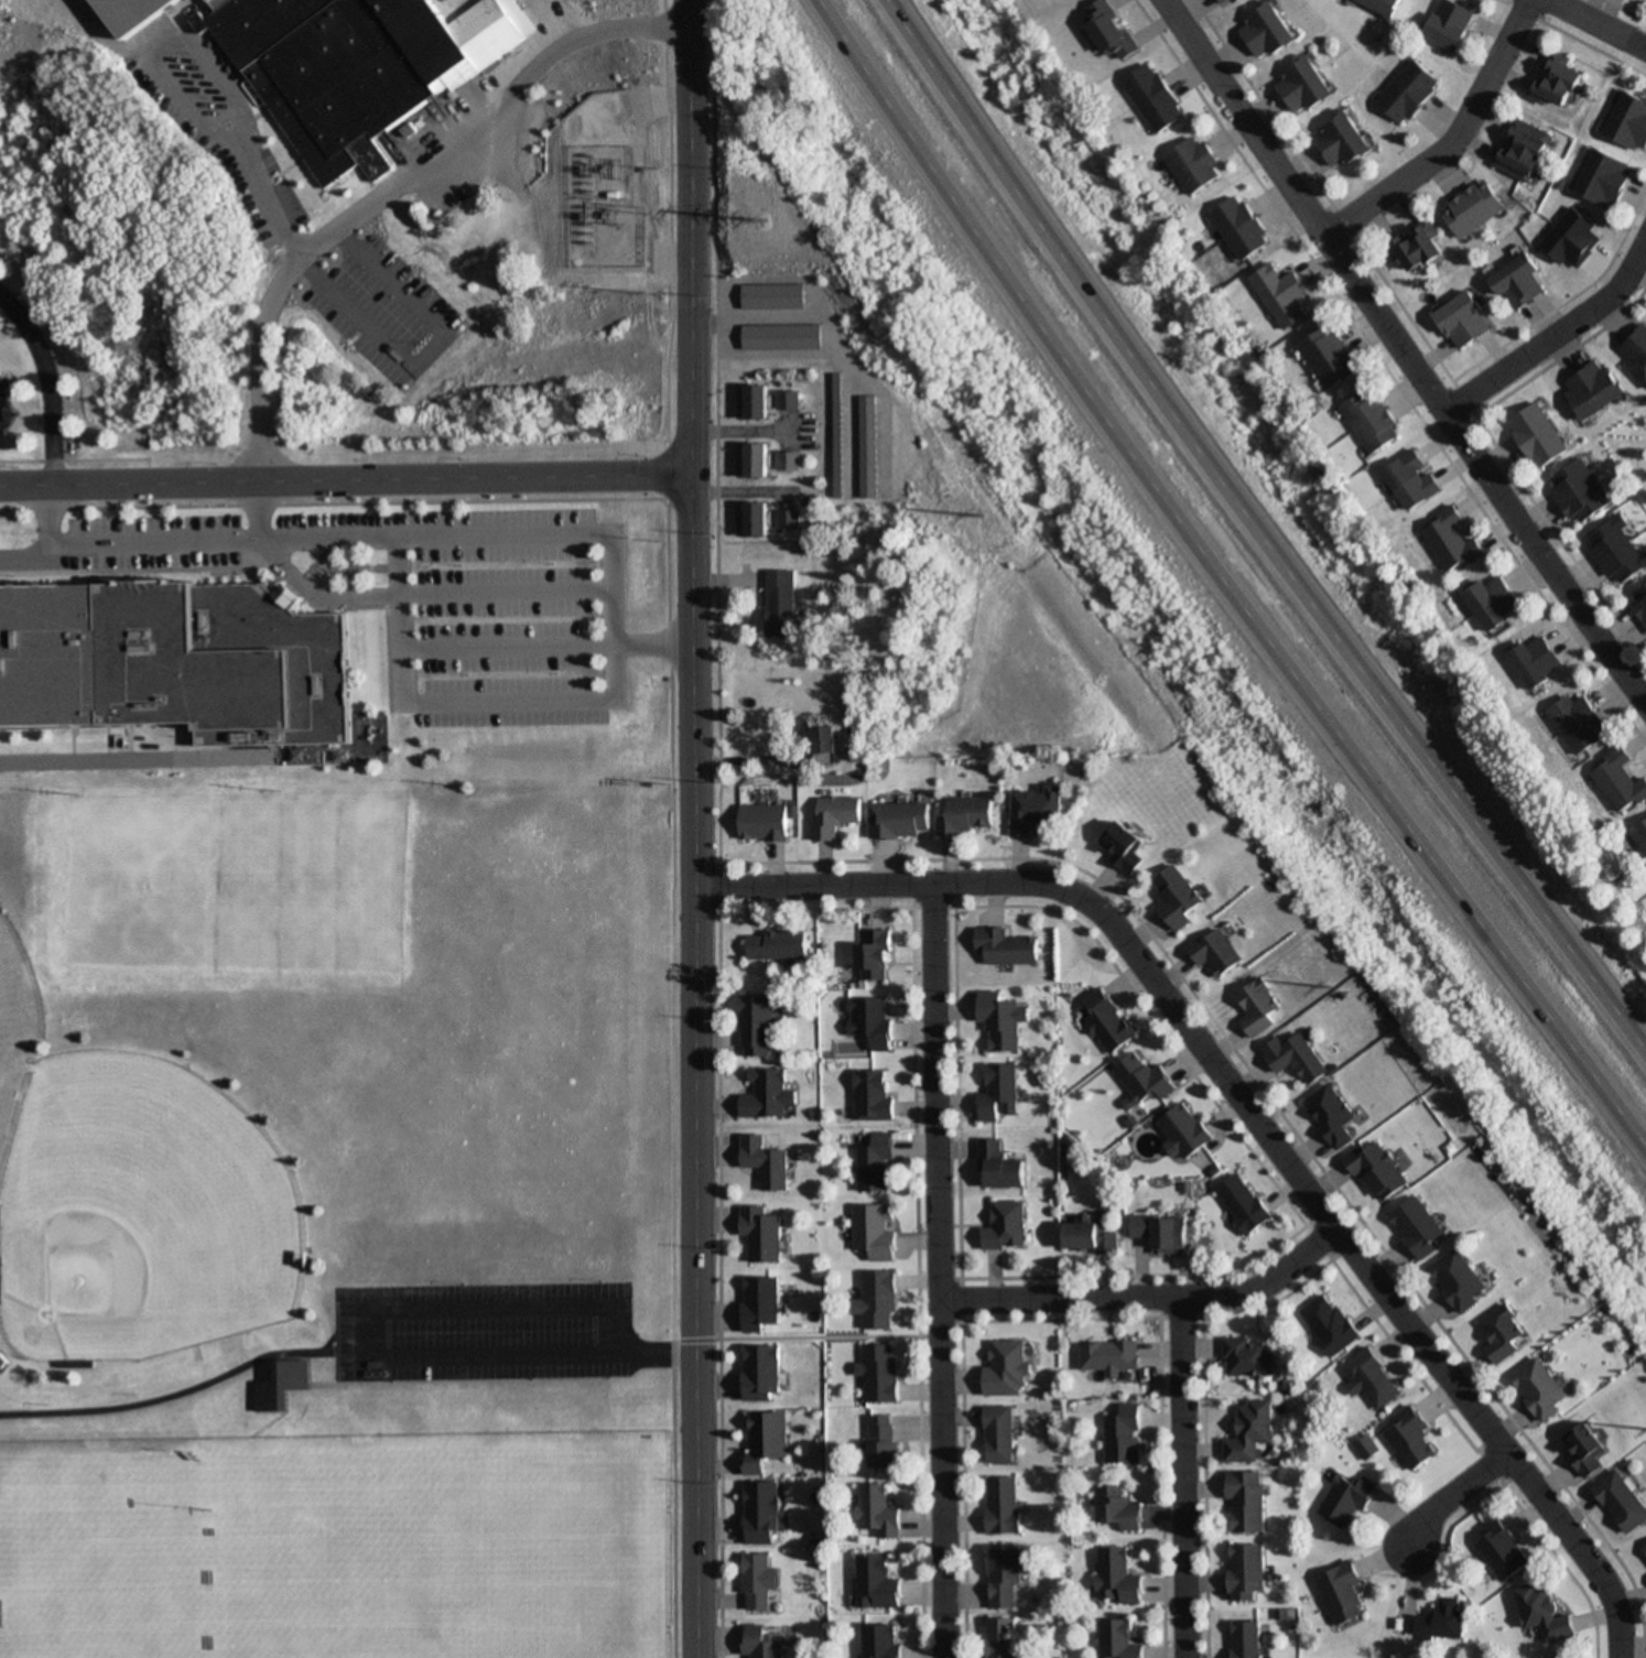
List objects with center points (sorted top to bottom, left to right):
building: (1223, 3)
building: (1380, 6)
power tower: (1022, 18)
road: (96, 24)
building: (1449, 24)
road: (1594, 26)
road: (145, 29)
building: (1107, 30)
building: (1264, 31)
road: (208, 61)
building: (350, 62)
building: (1556, 80)
road: (171, 86)
building: (1301, 87)
building: (1408, 93)
building: (1151, 98)
building: (1628, 122)
building: (1340, 141)
road: (1452, 145)
building: (1522, 151)
building: (1191, 164)
power tower: (658, 167)
building: (1604, 178)
road: (259, 186)
road: (393, 186)
power substation: (600, 207)
building: (1472, 208)
power tower: (752, 217)
power tower: (650, 218)
building: (1238, 227)
building: (1419, 247)
building: (1518, 282)
road: (408, 290)
power tower: (657, 294)
building: (1279, 295)
building: (768, 296)
road: (351, 307)
building: (1463, 319)
road: (1551, 332)
building: (777, 337)
building: (1636, 354)
road: (1399, 355)
building: (1326, 356)
road: (44, 383)
building: (1592, 388)
building: (783, 400)
building: (748, 403)
building: (1369, 419)
building: (1538, 435)
building: (835, 449)
building: (867, 453)
road: (69, 457)
building: (749, 460)
building: (783, 462)
road: (343, 476)
building: (1410, 479)
building: (1580, 492)
road: (331, 500)
power tower: (976, 517)
building: (749, 520)
road: (192, 532)
road: (1256, 534)
building: (1451, 540)
road: (28, 548)
building: (1617, 551)
road: (499, 578)
road: (1219, 584)
parking lot: (413, 585)
building: (1493, 602)
building: (1639, 602)
building: (778, 603)
road: (500, 639)
road: (648, 639)
building: (46, 653)
building: (218, 657)
building: (1535, 661)
road: (607, 693)
building: (1575, 723)
building: (822, 744)
road: (89, 750)
building: (1617, 780)
building: (1036, 809)
building: (967, 814)
building: (833, 815)
building: (899, 819)
building: (761, 821)
road: (691, 828)
building: (1639, 835)
building: (1124, 845)
road: (632, 858)
building: (1177, 897)
building: (776, 944)
building: (1006, 947)
building: (1215, 952)
building: (874, 954)
power tower: (1323, 986)
park: (14, 996)
building: (1259, 1007)
building: (870, 1020)
building: (1001, 1020)
building: (1107, 1021)
building: (756, 1025)
road: (307, 1032)
building: (1298, 1056)
building: (1145, 1079)
building: (998, 1092)
building: (767, 1094)
building: (871, 1096)
road: (1247, 1114)
building: (1334, 1114)
building: (1185, 1130)
building: (765, 1161)
building: (874, 1162)
building: (998, 1166)
building: (1380, 1170)
park: (158, 1198)
building: (1245, 1202)
park: (336, 1222)
building: (1005, 1225)
building: (1420, 1226)
building: (874, 1231)
building: (1161, 1232)
building: (761, 1233)
building: (1093, 1237)
road: (938, 1270)
building: (1460, 1279)
road: (1147, 1299)
building: (877, 1300)
building: (759, 1302)
building: (1332, 1324)
parking lot: (481, 1331)
building: (1504, 1333)
road: (815, 1340)
building: (1109, 1356)
building: (1247, 1357)
building: (2, 1362)
building: (1006, 1369)
building: (761, 1372)
building: (879, 1373)
building: (1376, 1378)
building: (281, 1385)
building: (1541, 1388)
road: (170, 1397)
building: (1252, 1431)
building: (998, 1434)
building: (1124, 1435)
building: (766, 1439)
building: (1415, 1439)
building: (884, 1441)
road: (327, 1443)
building: (1587, 1446)
road: (1180, 1478)
road: (1454, 1498)
building: (1349, 1499)
building: (1623, 1499)
building: (1246, 1502)
building: (1001, 1505)
building: (1118, 1508)
building: (877, 1511)
building: (762, 1513)
building: (1503, 1550)
building: (1645, 1551)
park: (551, 1561)
park: (337, 1562)
park: (100, 1565)
building: (1247, 1571)
building: (1003, 1576)
building: (1118, 1576)
building: (756, 1582)
building: (877, 1582)
building: (1343, 1593)
road: (4, 1594)
building: (1544, 1613)
building: (1442, 1621)
building: (1003, 1638)
building: (1119, 1639)
building: (1247, 1639)
building: (881, 1641)
building: (760, 1643)

